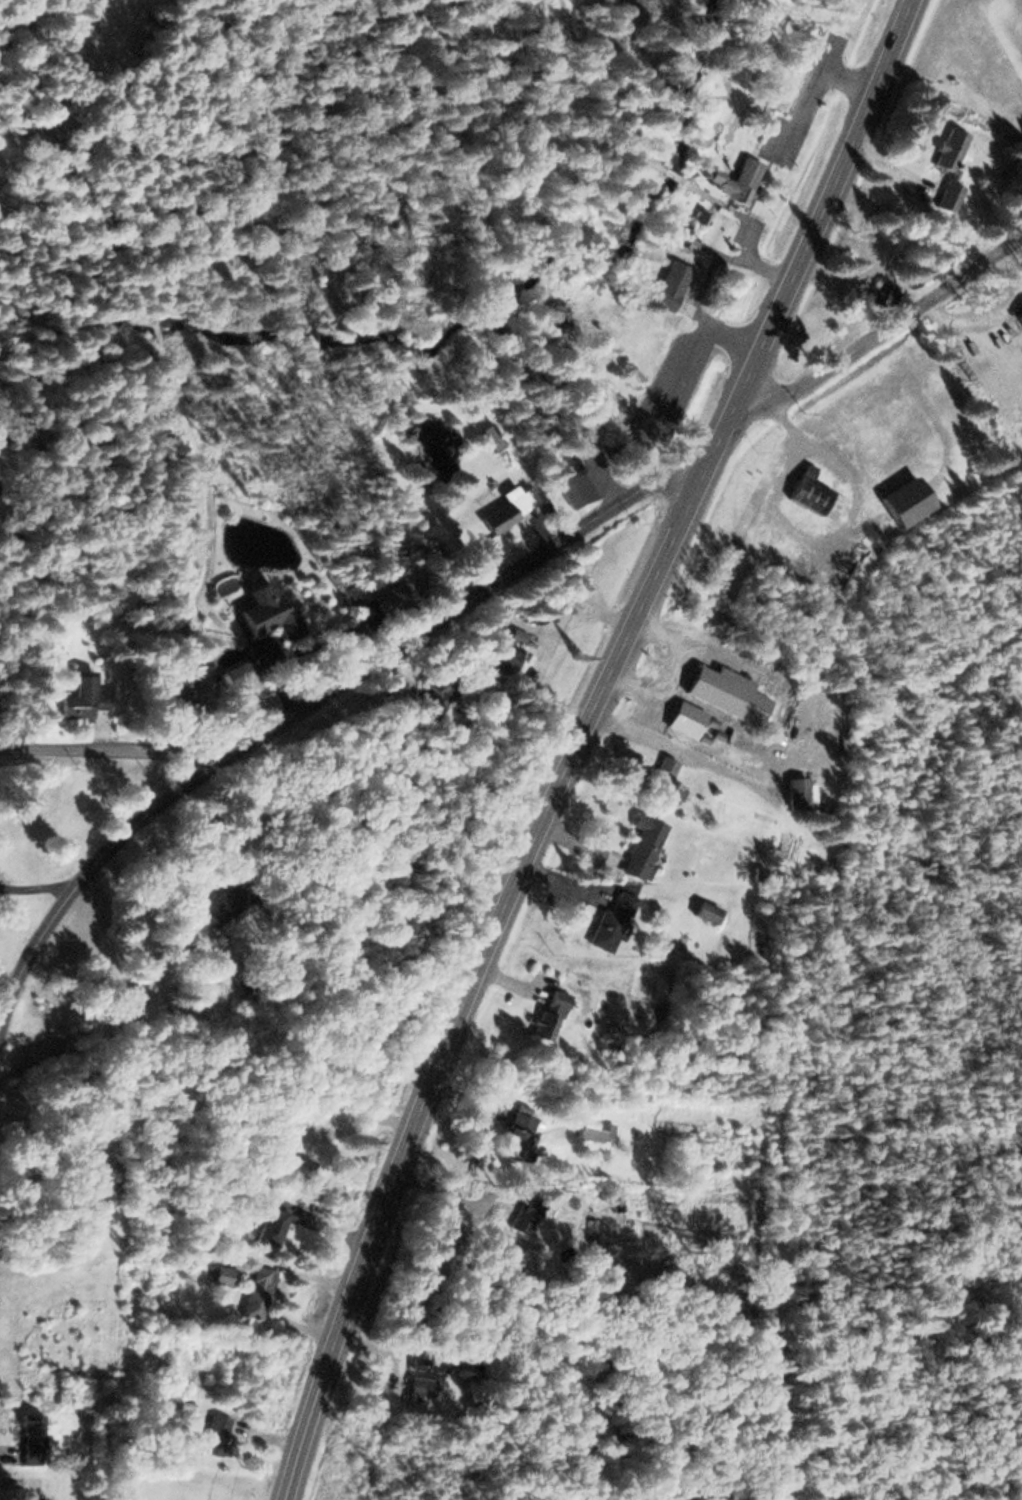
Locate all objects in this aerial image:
park: (973, 50)
building: (944, 167)
building: (732, 179)
road: (817, 207)
building: (683, 238)
building: (669, 281)
building: (874, 294)
building: (549, 322)
road: (876, 330)
building: (489, 436)
road: (710, 439)
building: (571, 486)
building: (799, 490)
building: (501, 509)
building: (834, 569)
building: (384, 598)
building: (259, 613)
building: (513, 635)
building: (493, 653)
building: (177, 690)
building: (720, 693)
building: (432, 695)
building: (75, 699)
road: (310, 699)
building: (679, 718)
road: (113, 753)
building: (659, 780)
building: (793, 792)
building: (638, 846)
building: (209, 904)
building: (701, 911)
building: (605, 919)
road: (467, 974)
building: (539, 1015)
building: (276, 1125)
building: (586, 1129)
building: (505, 1132)
building: (285, 1164)
building: (102, 1172)
building: (75, 1224)
building: (264, 1224)
building: (217, 1274)
building: (253, 1291)
building: (418, 1387)
building: (213, 1434)
building: (26, 1438)
building: (25, 1480)
building: (44, 1497)

